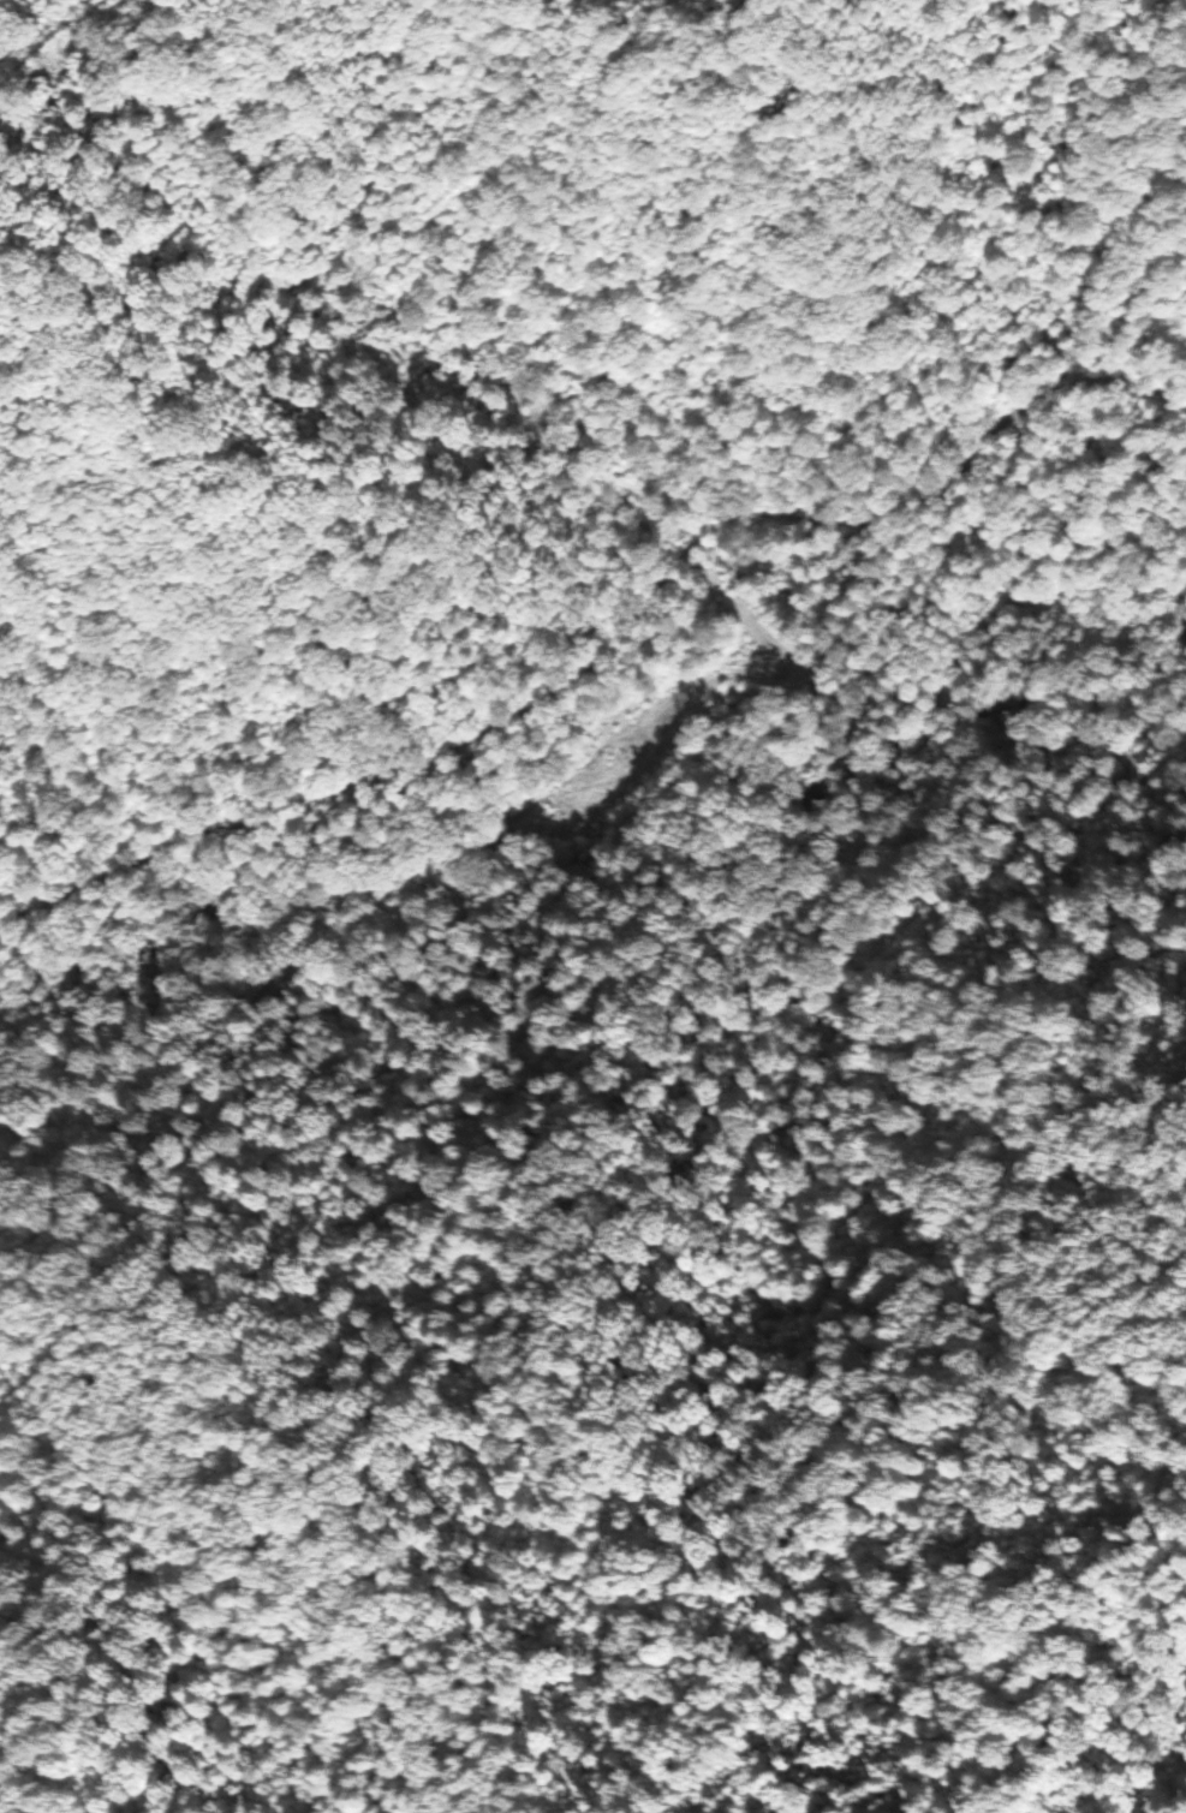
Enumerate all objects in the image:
road: (597, 609)

